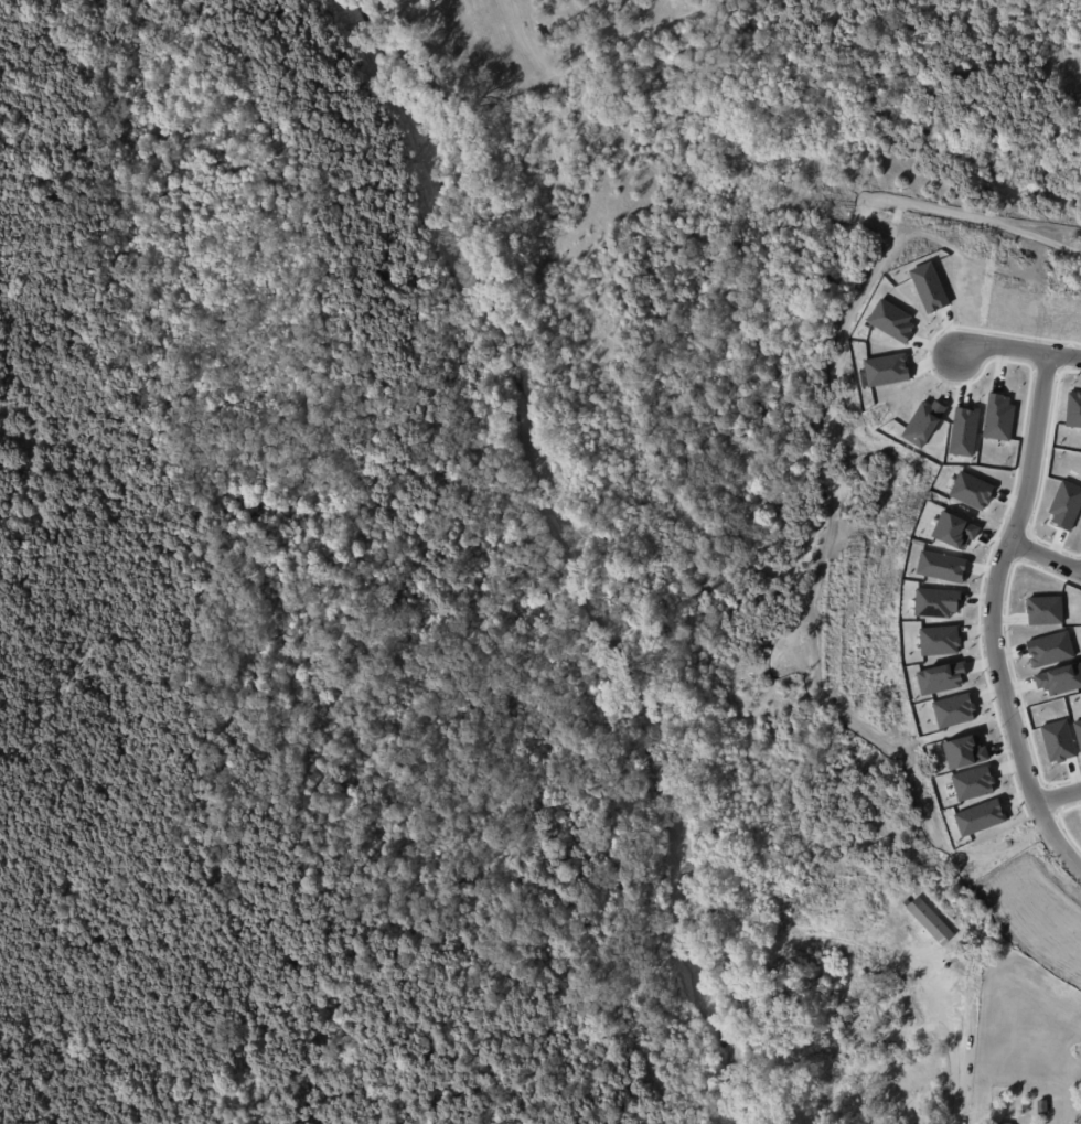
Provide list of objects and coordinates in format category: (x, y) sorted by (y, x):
road: (636, 30)
road: (983, 229)
building: (930, 287)
building: (891, 320)
road: (1075, 334)
road: (1015, 341)
building: (887, 370)
building: (1073, 409)
building: (998, 417)
building: (923, 422)
building: (964, 431)
building: (972, 490)
building: (1066, 505)
building: (954, 529)
road: (1050, 548)
building: (942, 566)
building: (936, 602)
road: (1002, 606)
building: (1045, 610)
building: (940, 641)
building: (1050, 649)
building: (940, 678)
building: (1059, 679)
building: (954, 710)
building: (1078, 731)
building: (1059, 740)
building: (965, 751)
building: (973, 783)
road: (1063, 791)
building: (980, 816)
building: (855, 885)
building: (932, 921)
road: (959, 1043)
building: (1043, 1105)
building: (1002, 1123)

